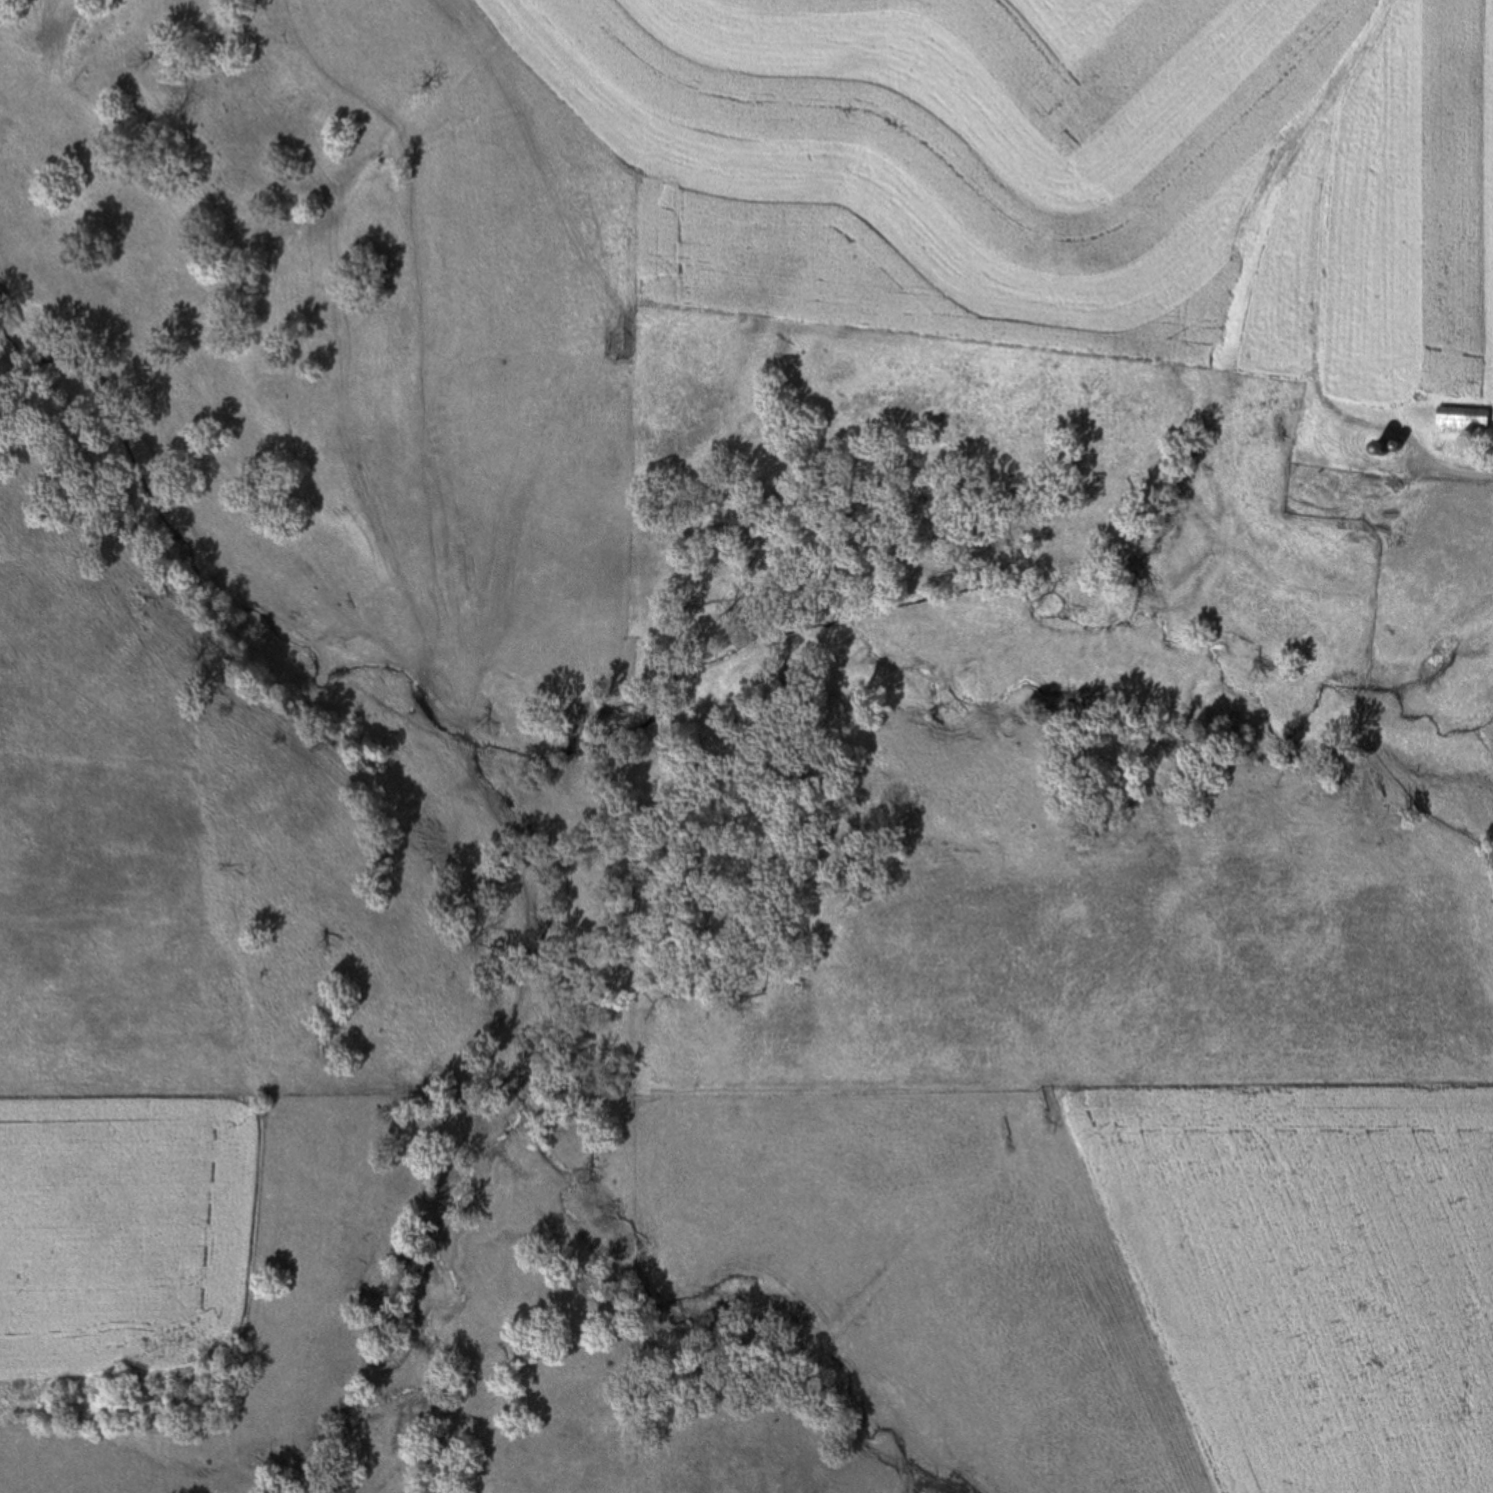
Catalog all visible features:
building: (1460, 421)

